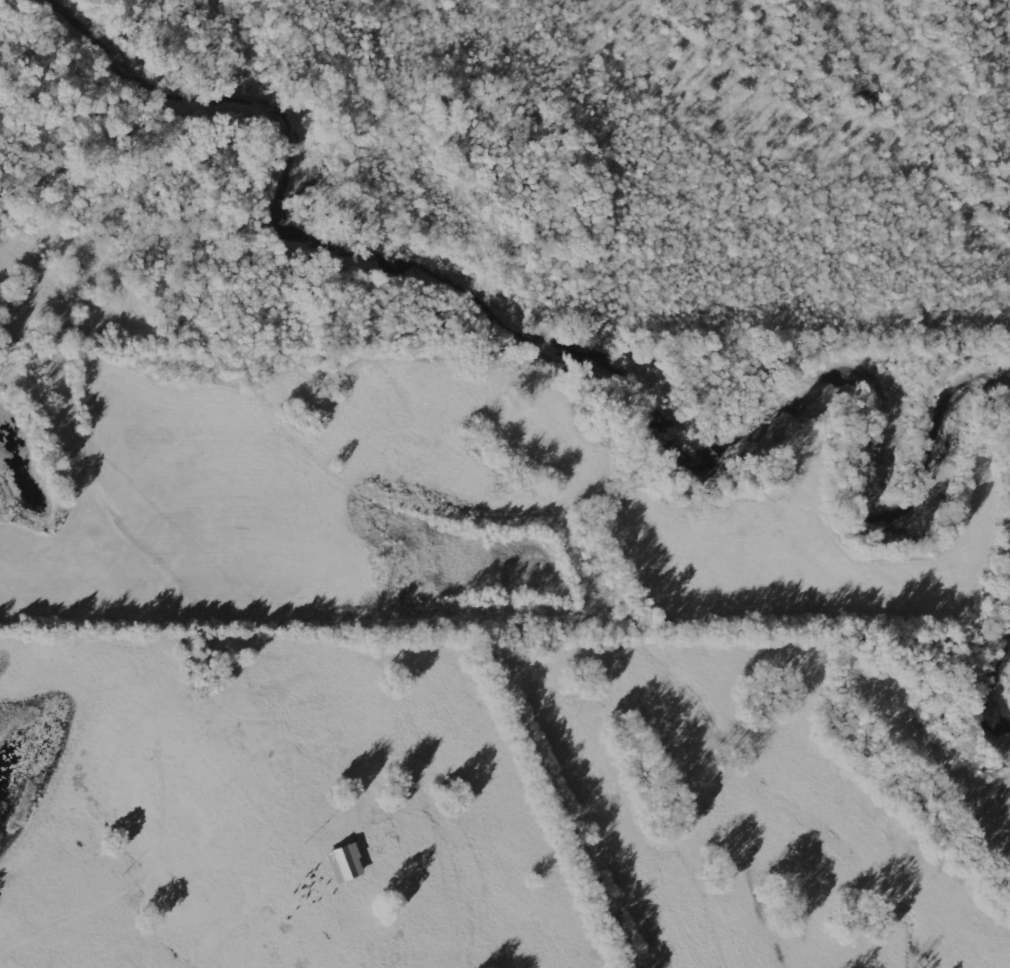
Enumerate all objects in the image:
building: (346, 863)

